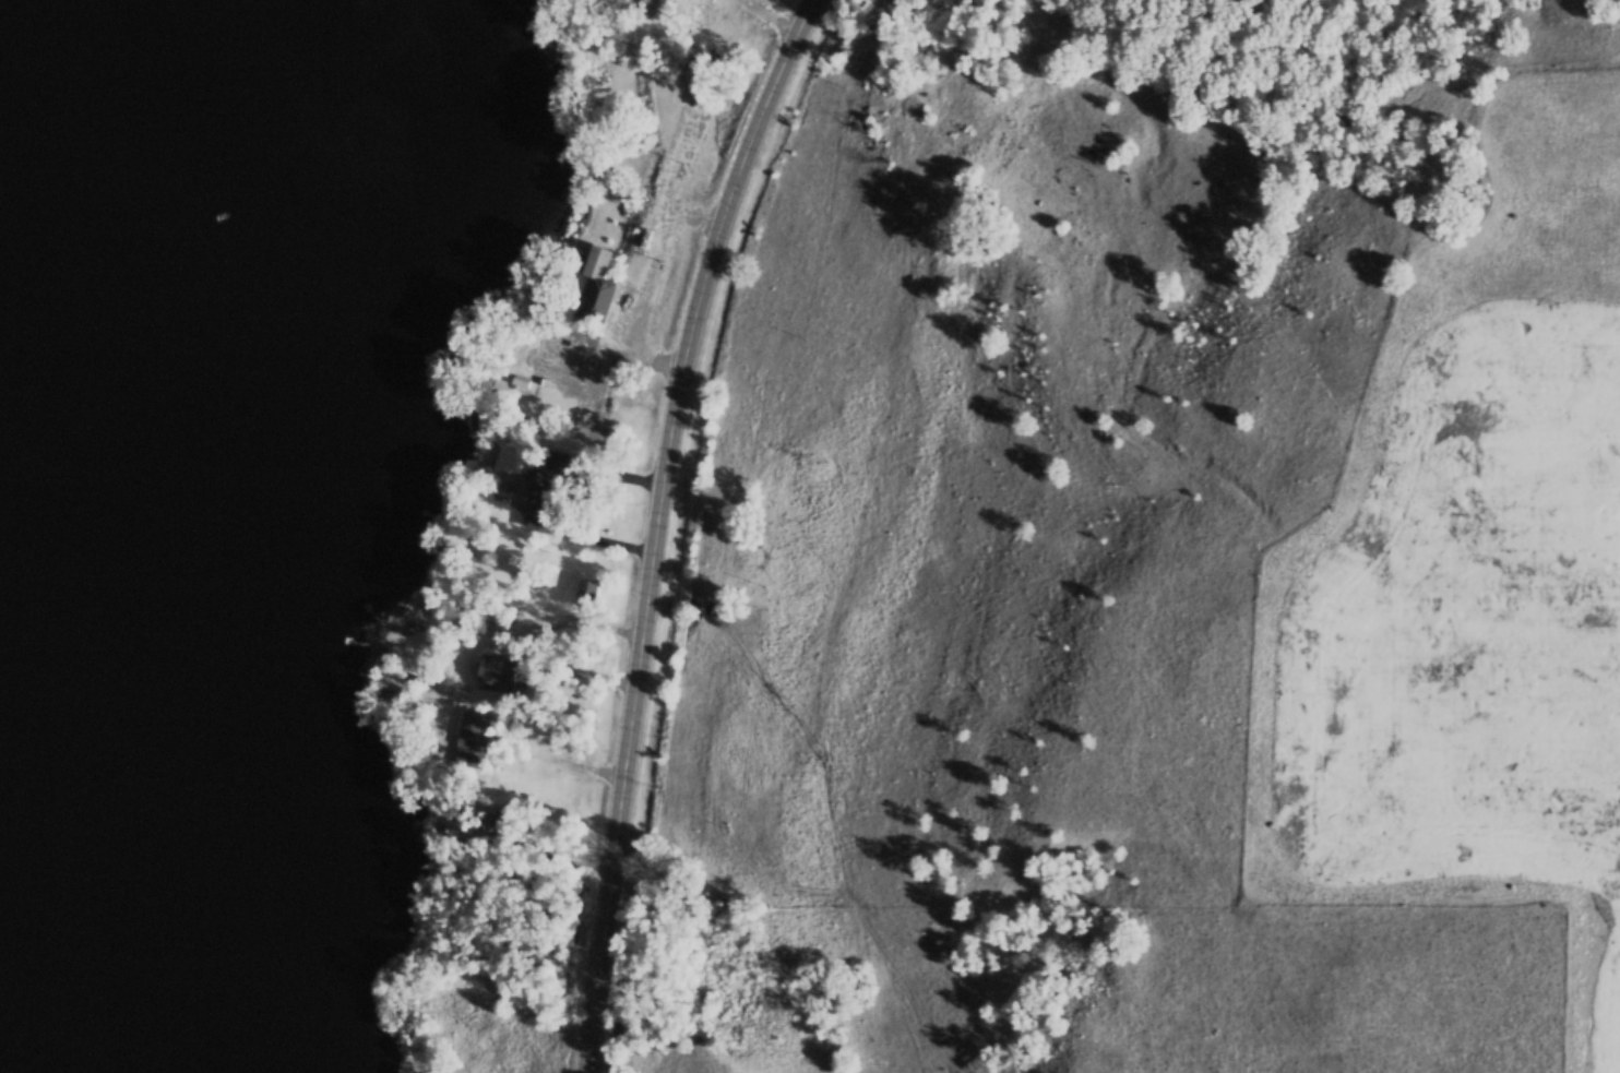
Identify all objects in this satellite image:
road: (770, 17)
building: (592, 285)
building: (552, 470)
road: (664, 526)
building: (584, 593)
road: (511, 672)
building: (473, 730)
building: (496, 822)

